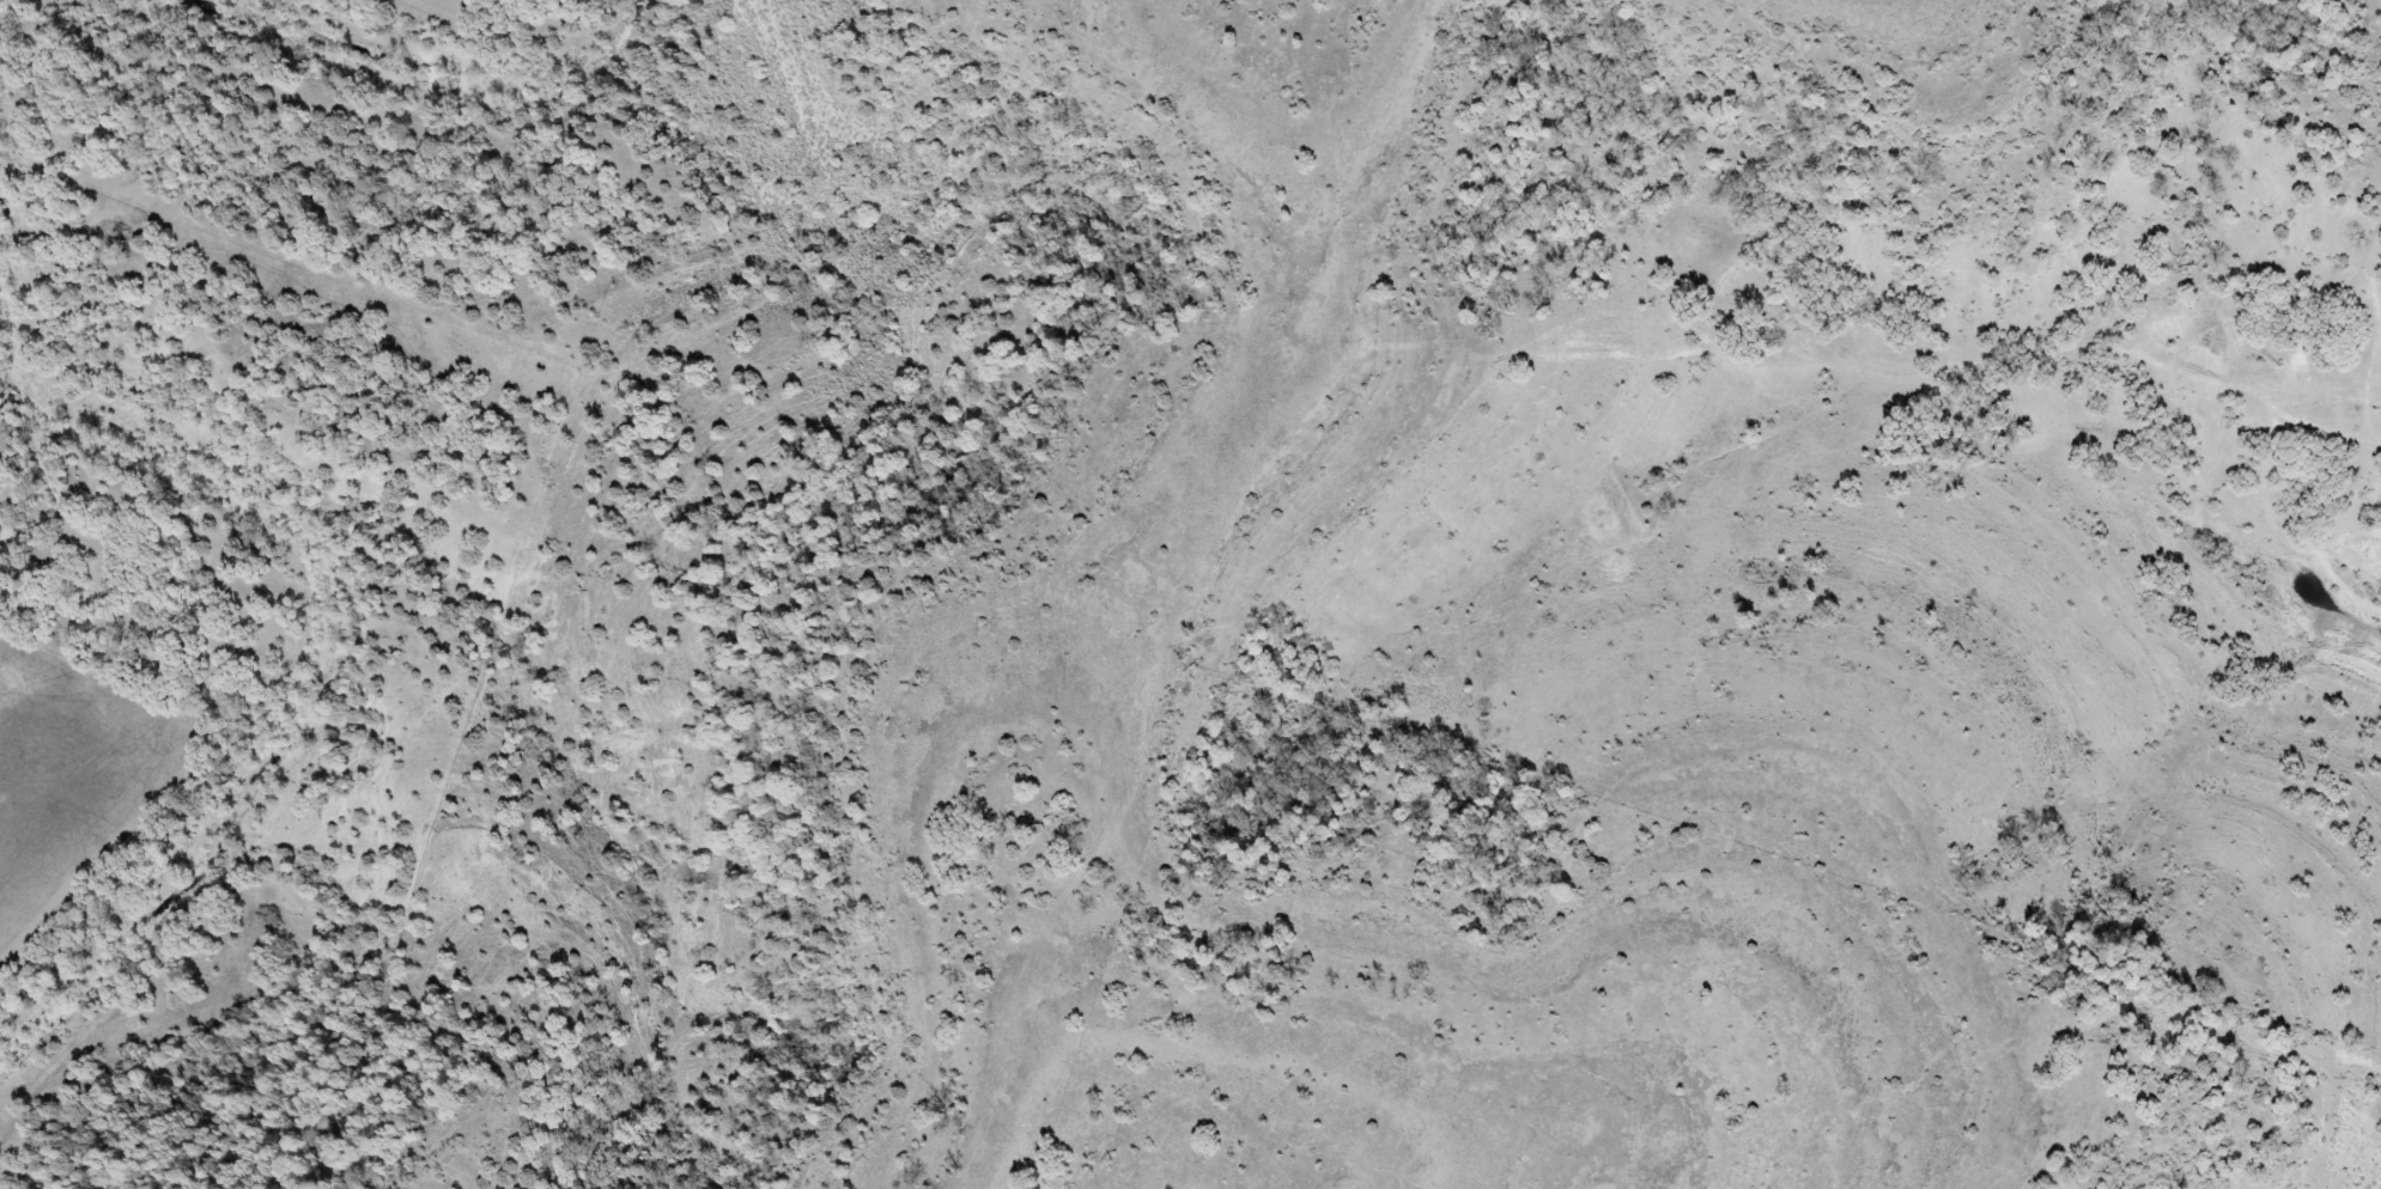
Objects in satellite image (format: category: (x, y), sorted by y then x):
road: (2319, 446)

